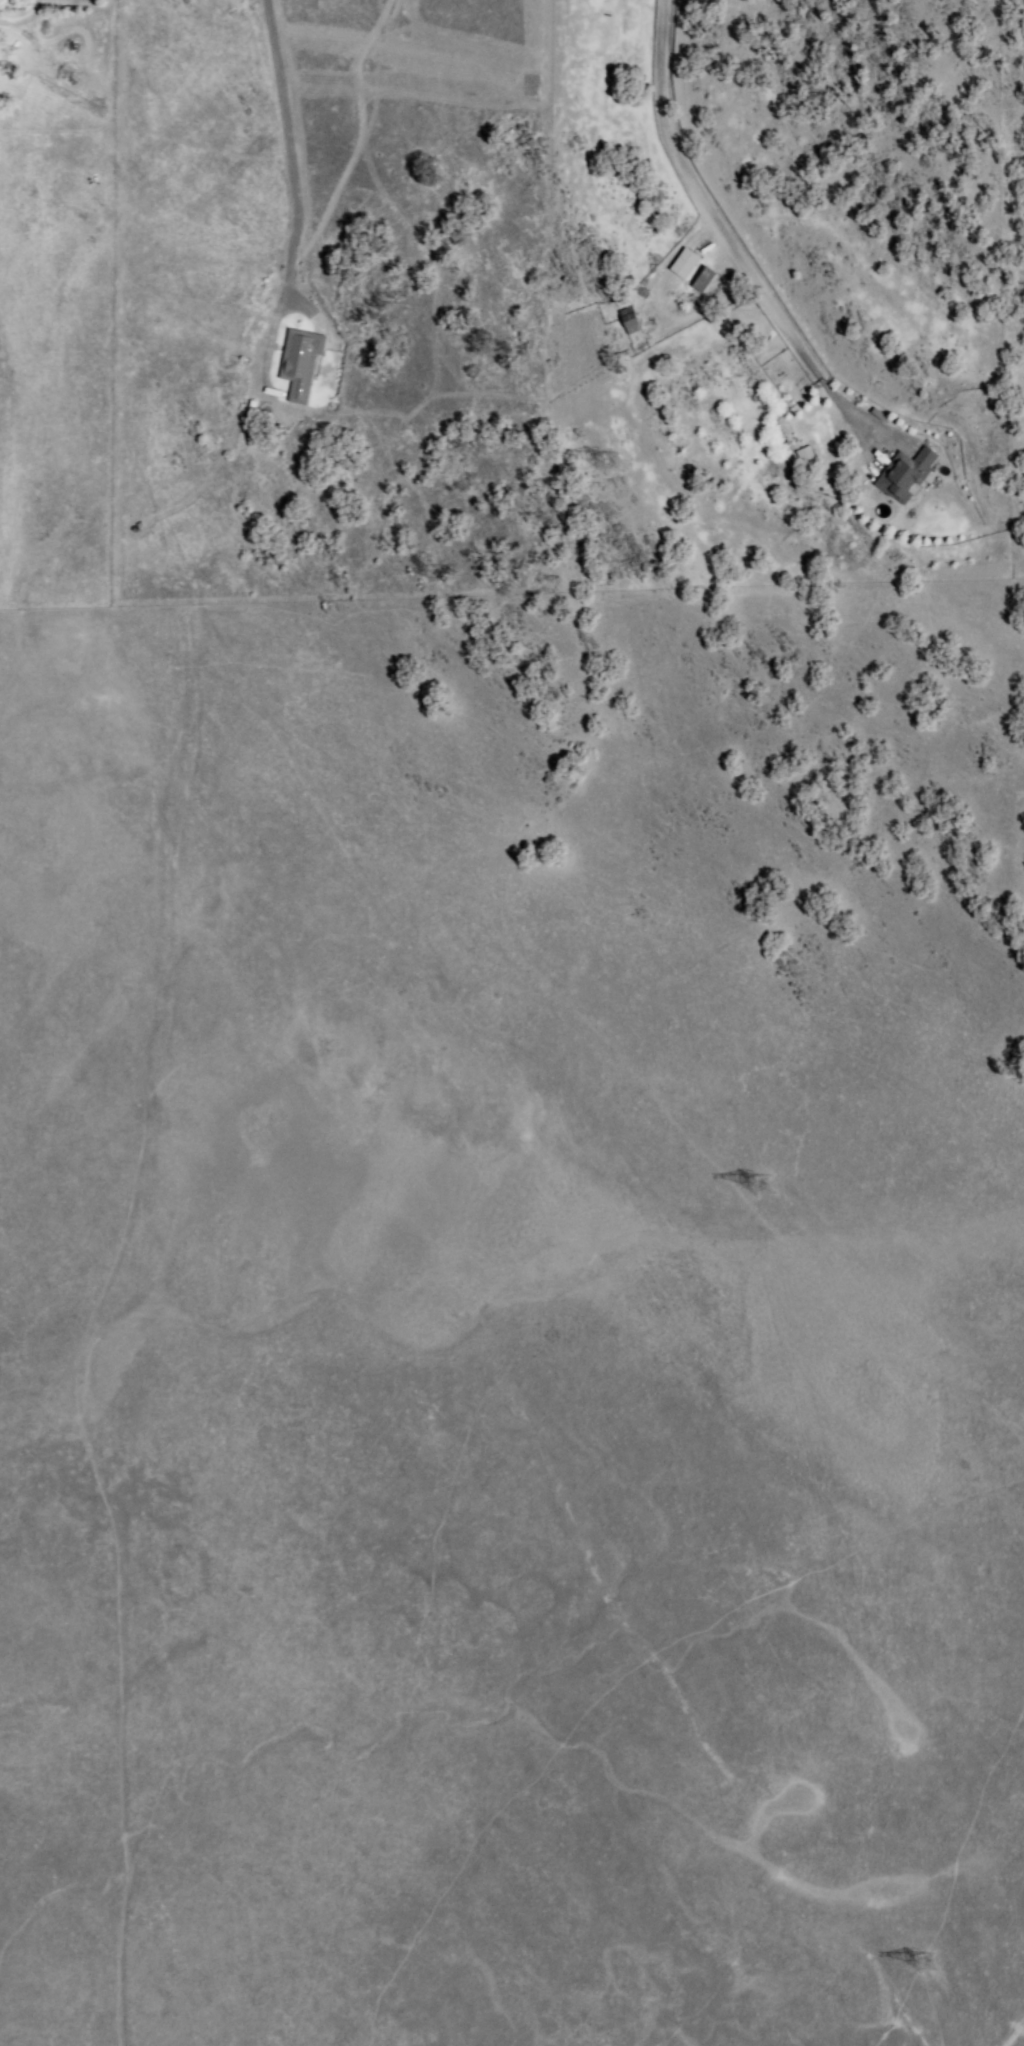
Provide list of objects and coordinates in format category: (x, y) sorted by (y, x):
road: (287, 150)
road: (710, 222)
building: (682, 264)
building: (701, 280)
building: (298, 364)
power tower: (622, 459)
building: (903, 474)
power tower: (772, 1188)
power tower: (935, 1966)

